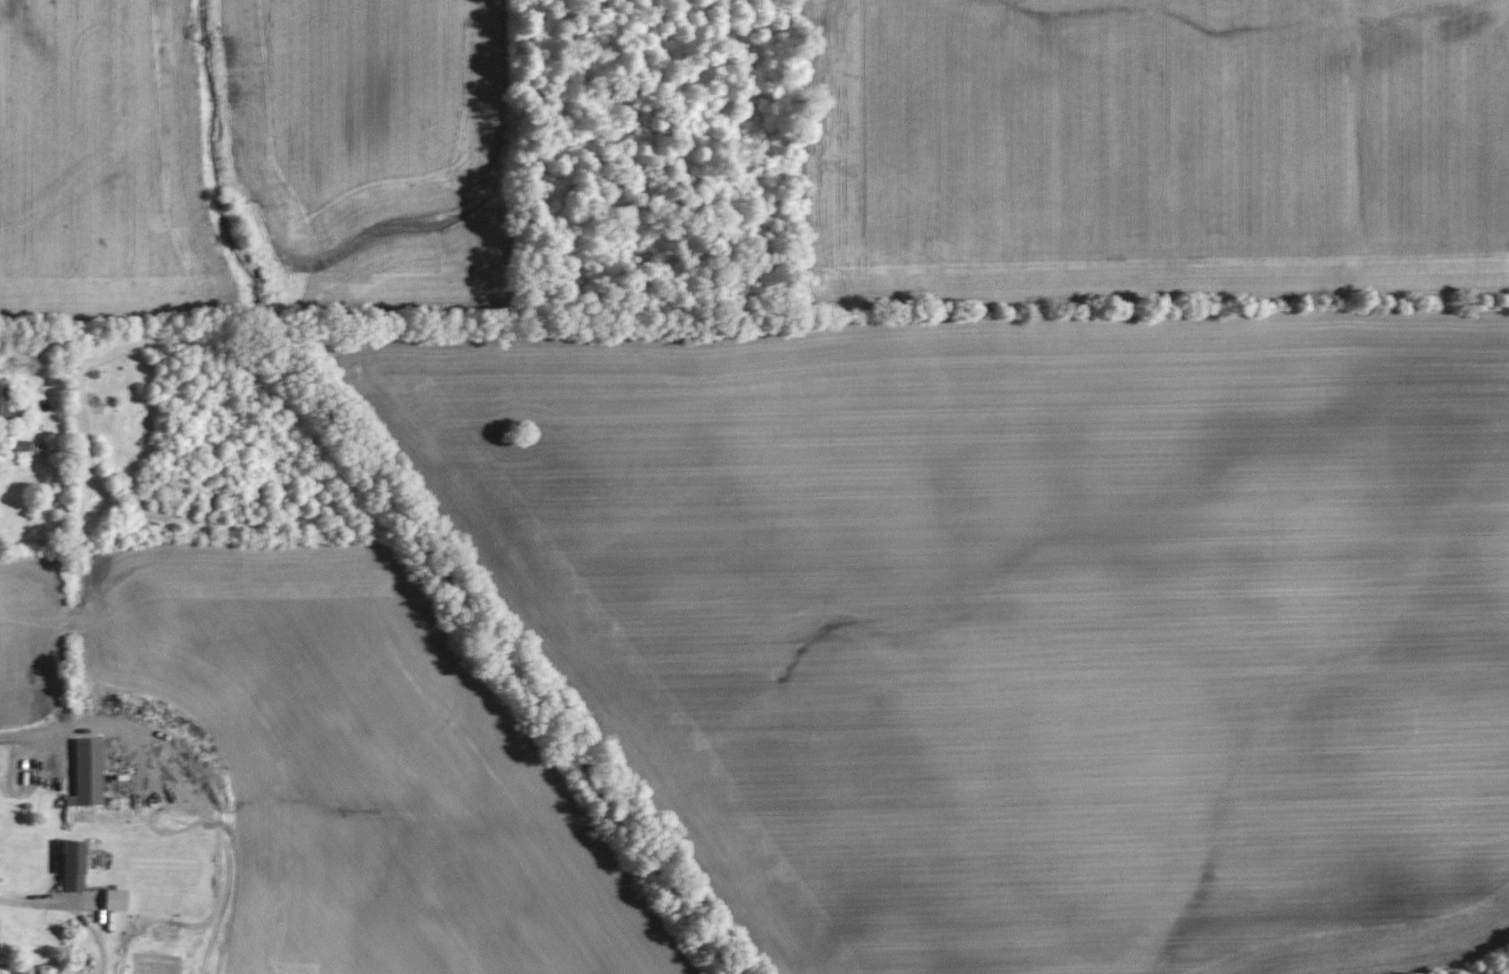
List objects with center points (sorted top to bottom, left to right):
building: (6, 406)
road: (49, 731)
building: (88, 773)
building: (72, 865)
building: (116, 899)
road: (73, 909)
building: (53, 969)

